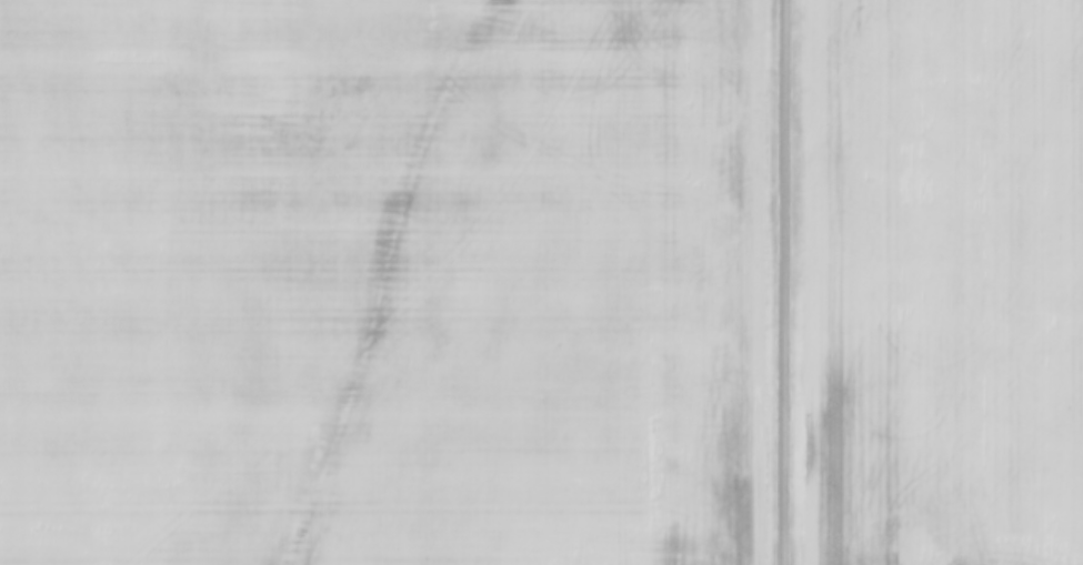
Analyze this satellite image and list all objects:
road: (786, 282)

